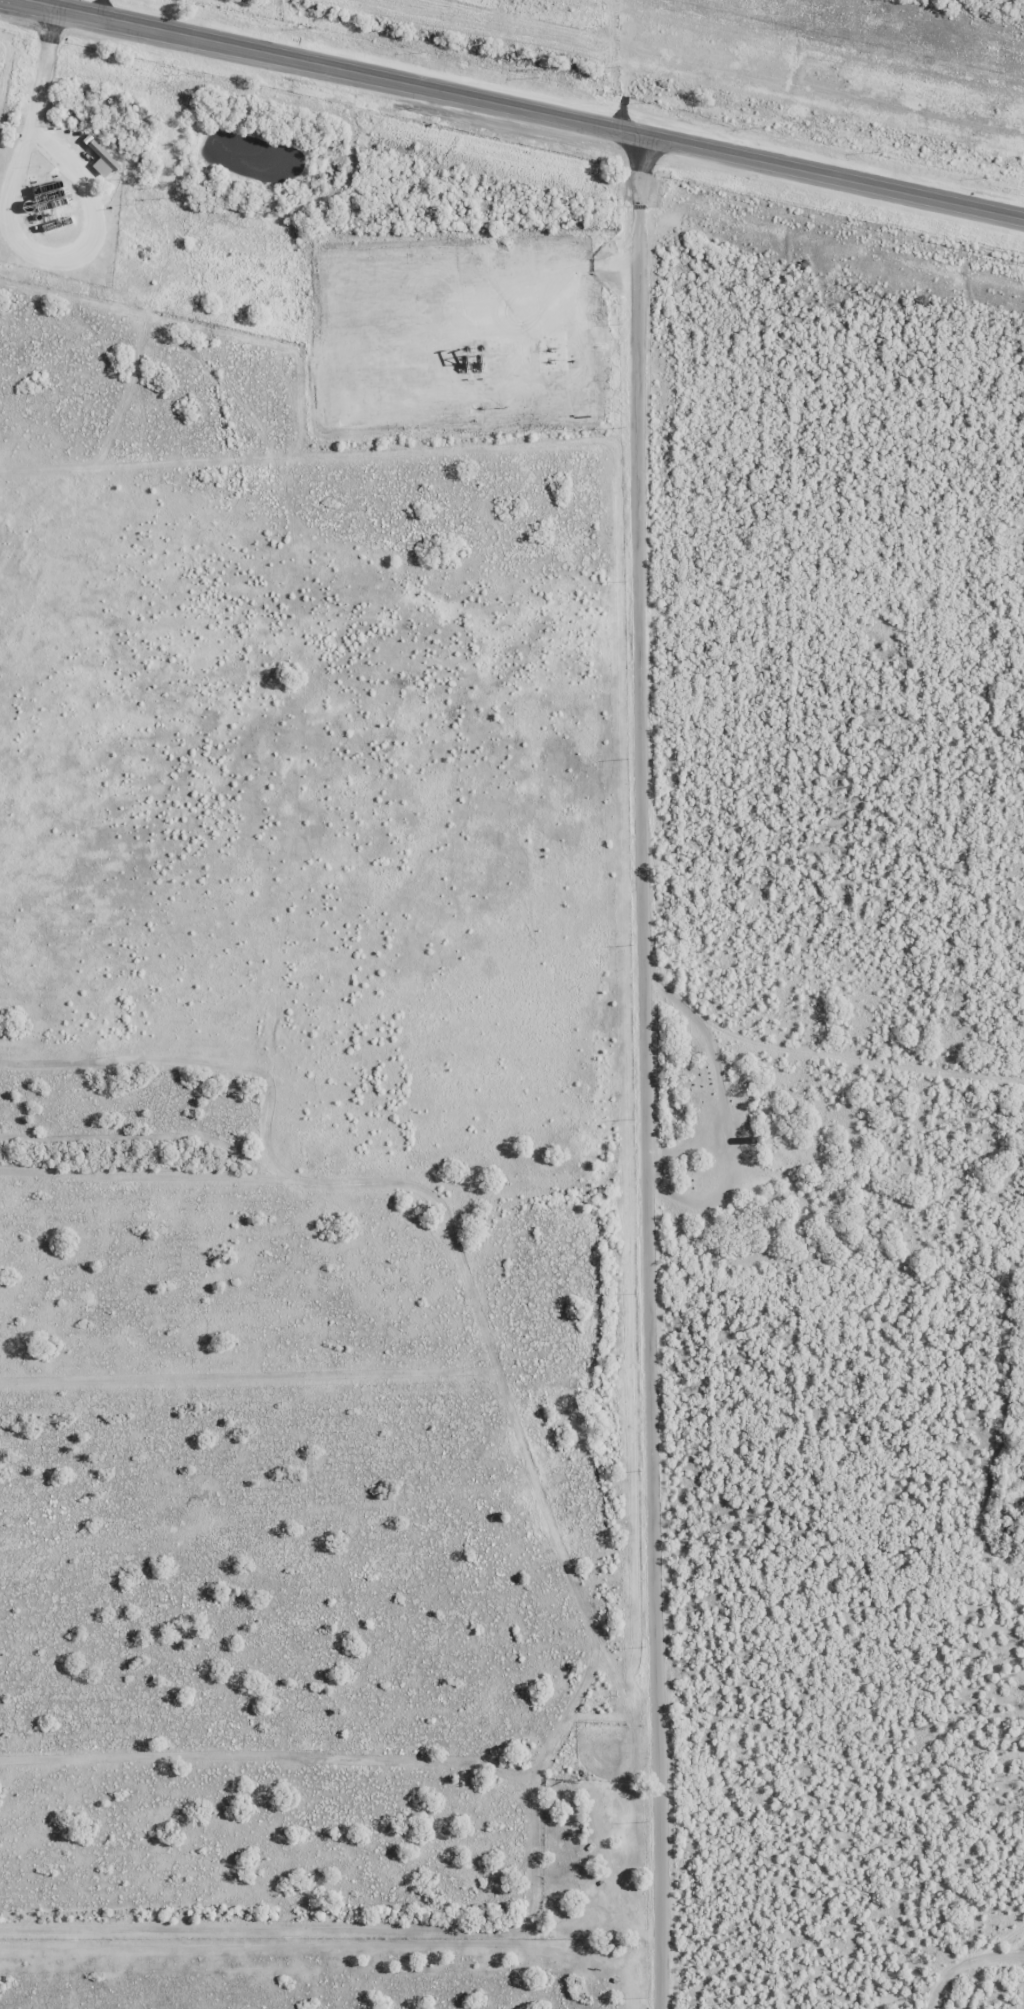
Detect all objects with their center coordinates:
road: (104, 9)
road: (520, 111)
building: (101, 157)
petroleum well: (478, 357)
road: (647, 1073)

